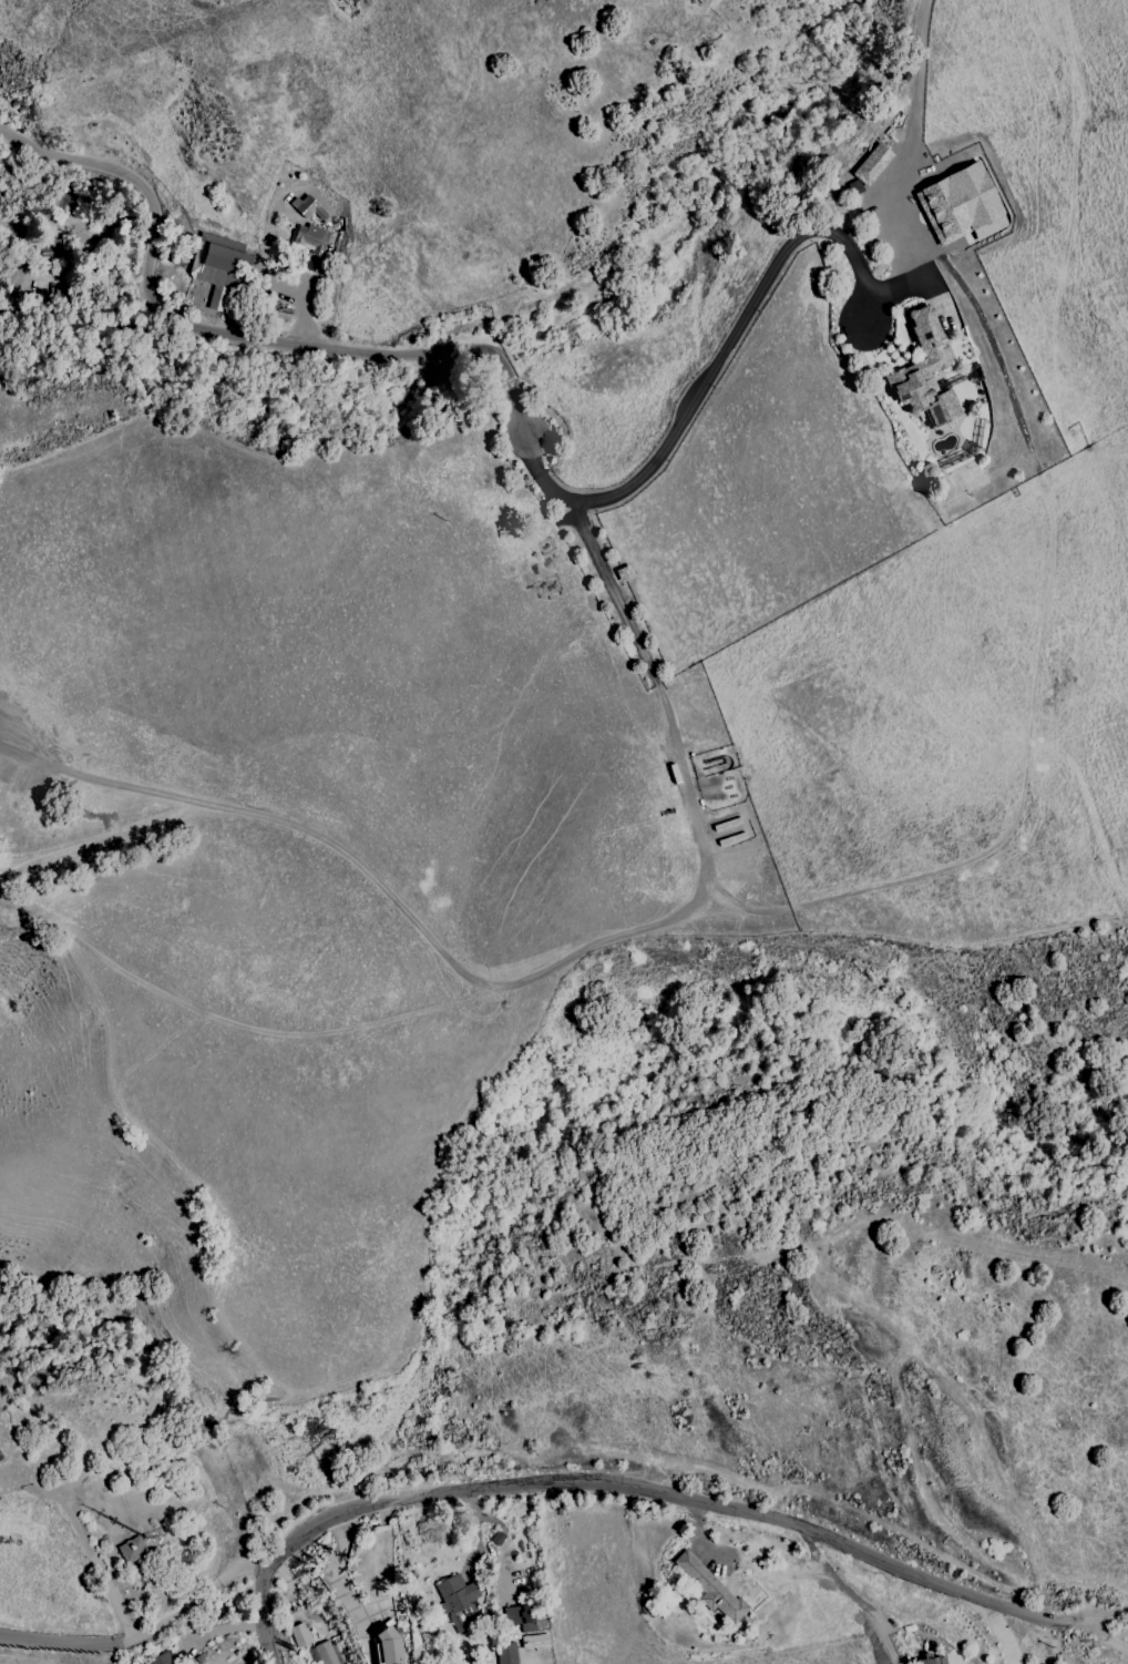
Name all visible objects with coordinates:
building: (871, 164)
building: (961, 205)
building: (307, 207)
building: (309, 238)
building: (924, 372)
road: (511, 390)
road: (612, 593)
road: (435, 948)
road: (618, 1483)
road: (478, 1531)
building: (132, 1550)
road: (498, 1565)
building: (708, 1588)
building: (458, 1593)
road: (1095, 1616)
building: (519, 1619)
road: (218, 1632)
road: (998, 1632)
road: (144, 1634)
building: (298, 1634)
road: (1106, 1635)
building: (387, 1647)
building: (327, 1653)
building: (505, 1653)
building: (158, 1660)
building: (935, 1660)

